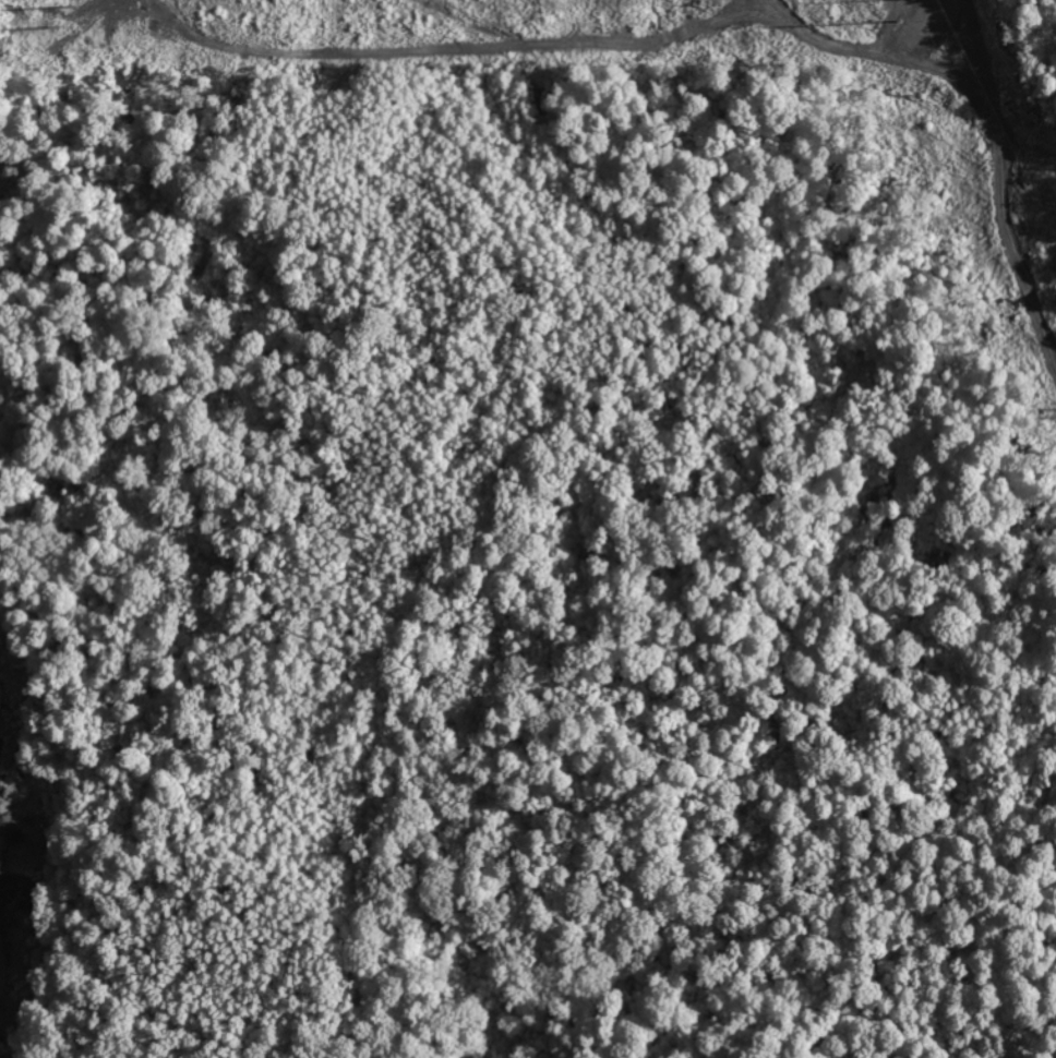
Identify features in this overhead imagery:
power tower: (84, 10)

